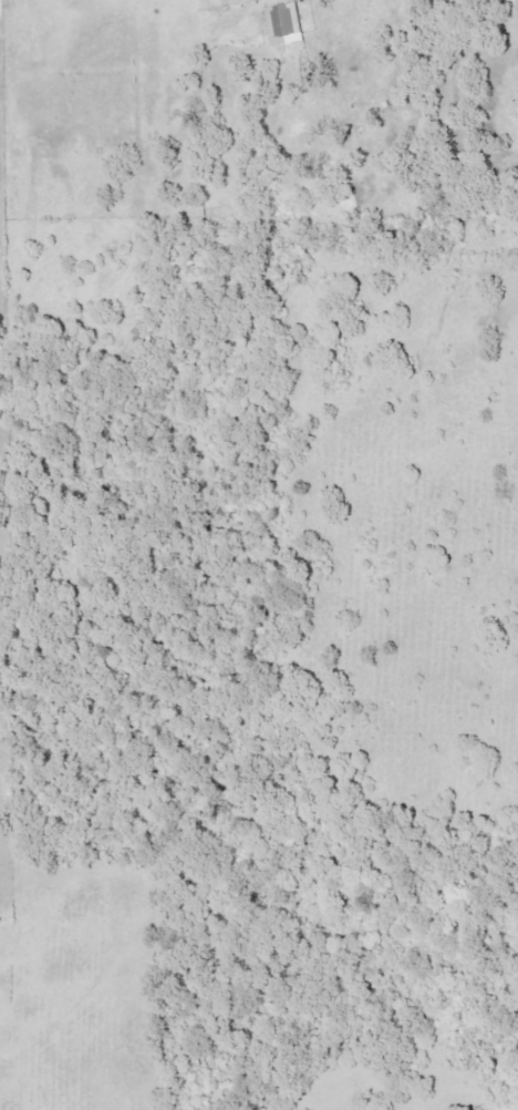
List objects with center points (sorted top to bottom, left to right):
building: (286, 24)

